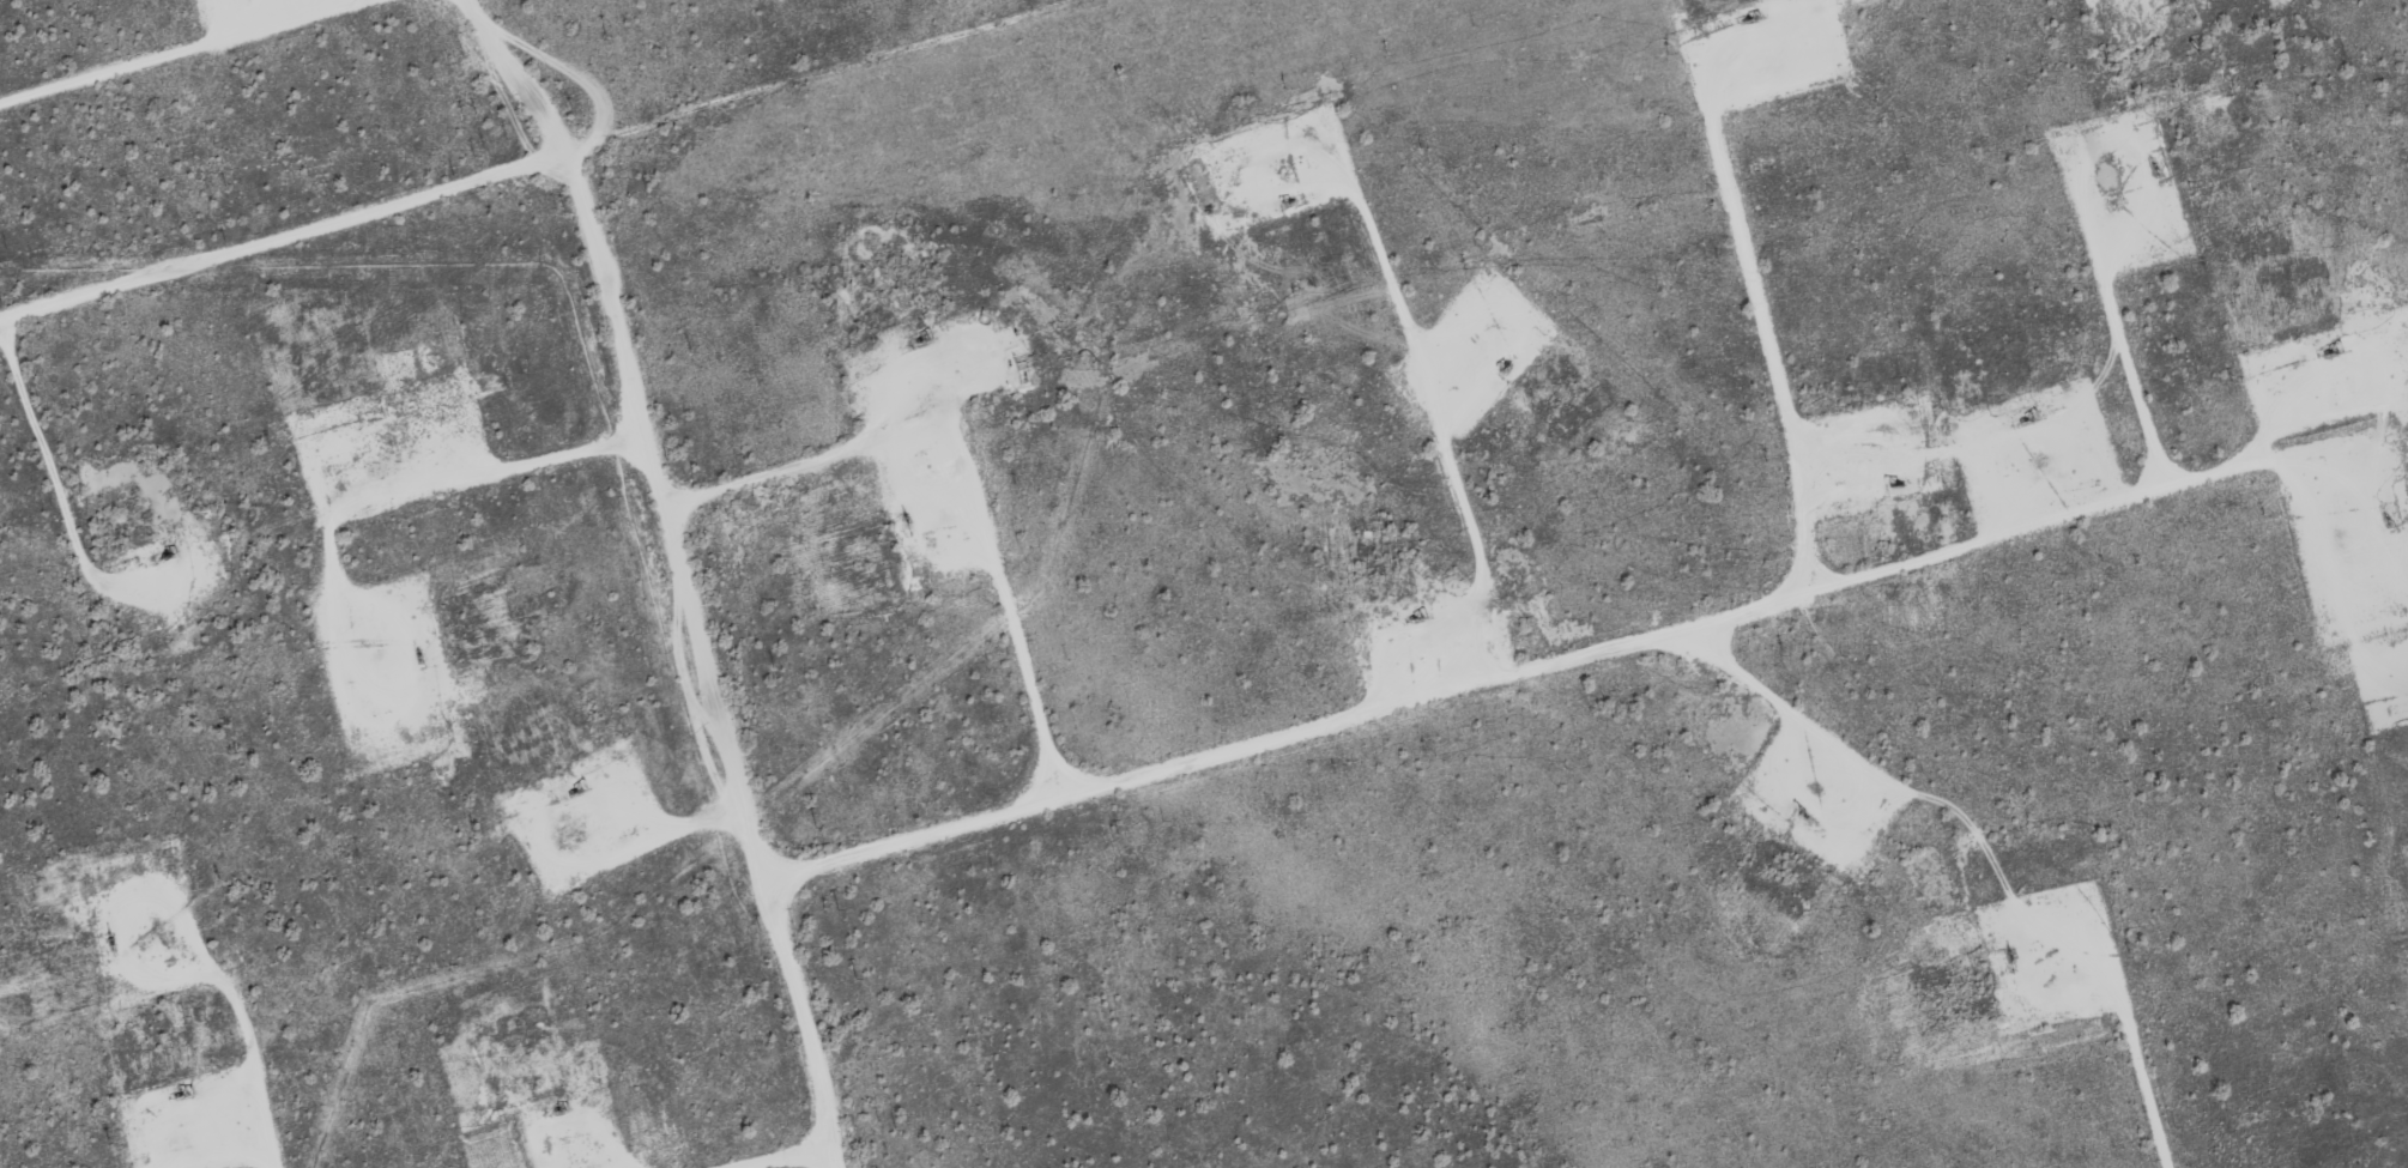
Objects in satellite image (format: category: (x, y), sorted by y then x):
road: (703, 568)

